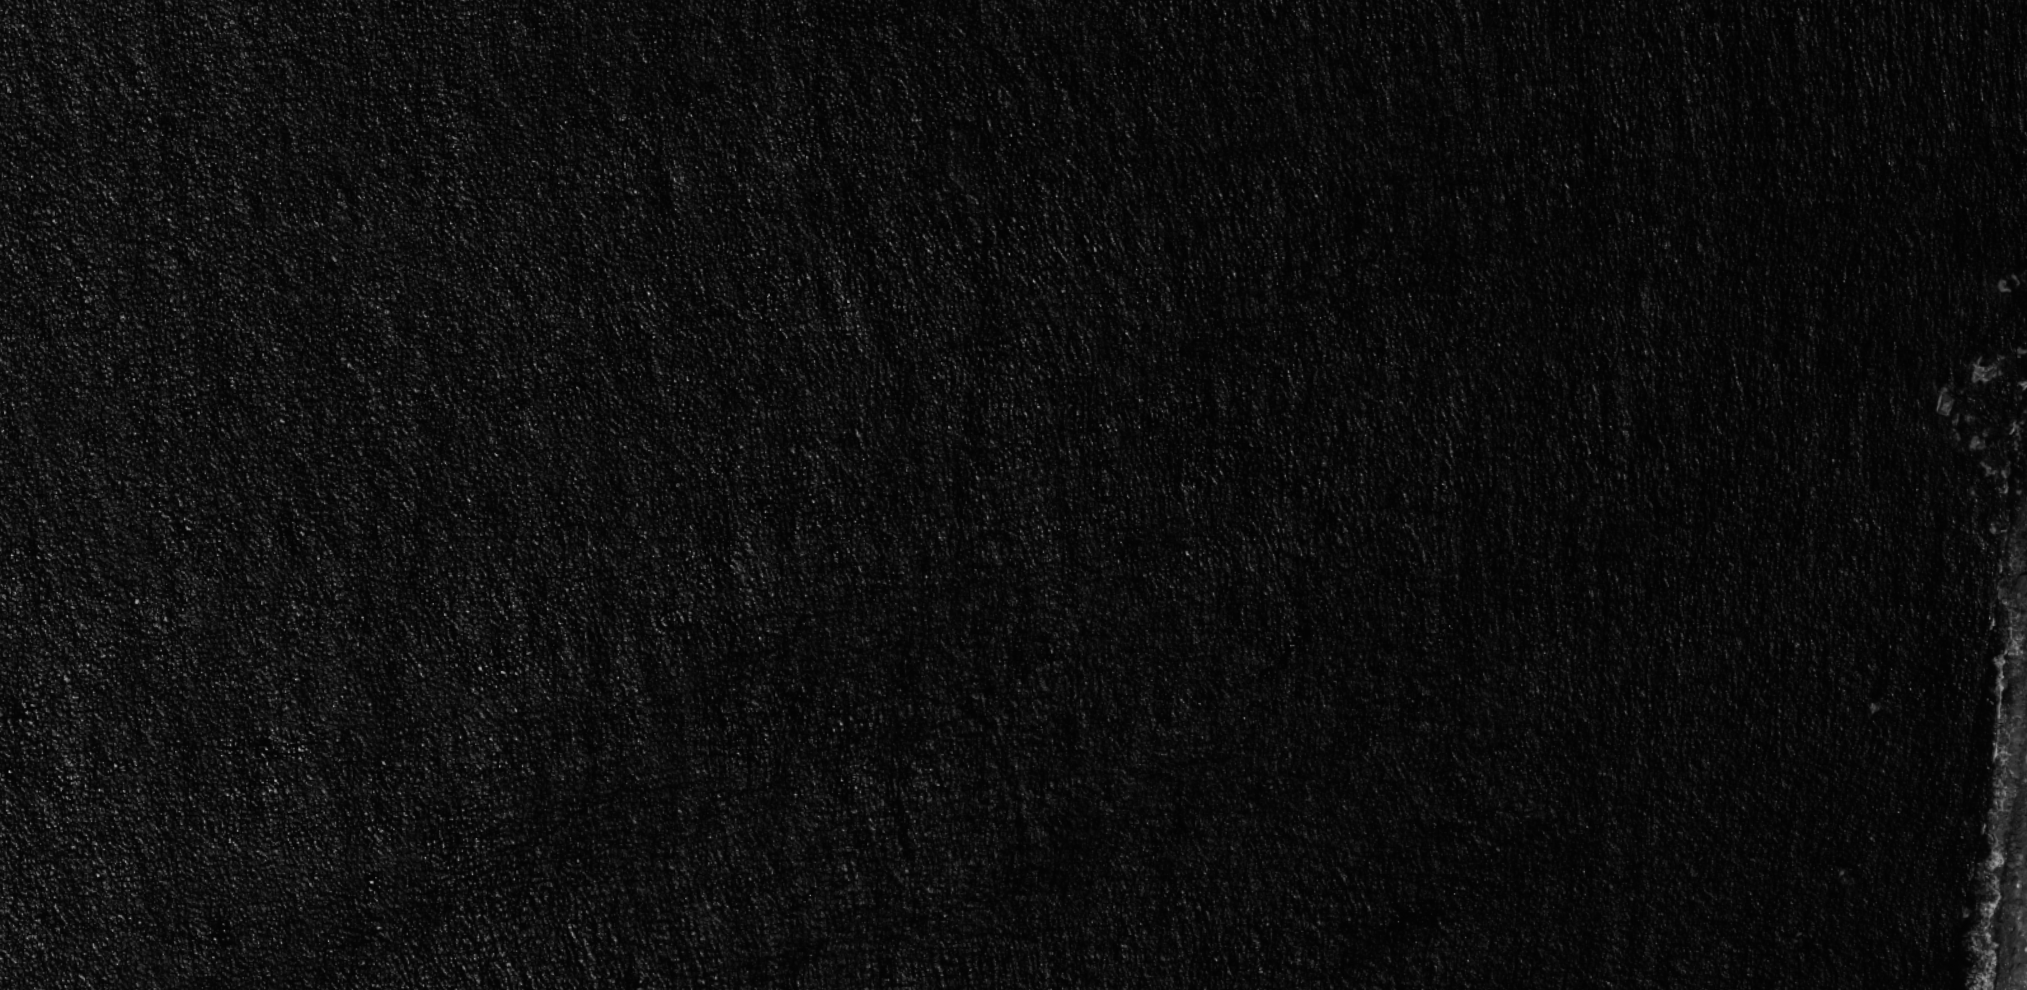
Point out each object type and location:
park: (2004, 821)

